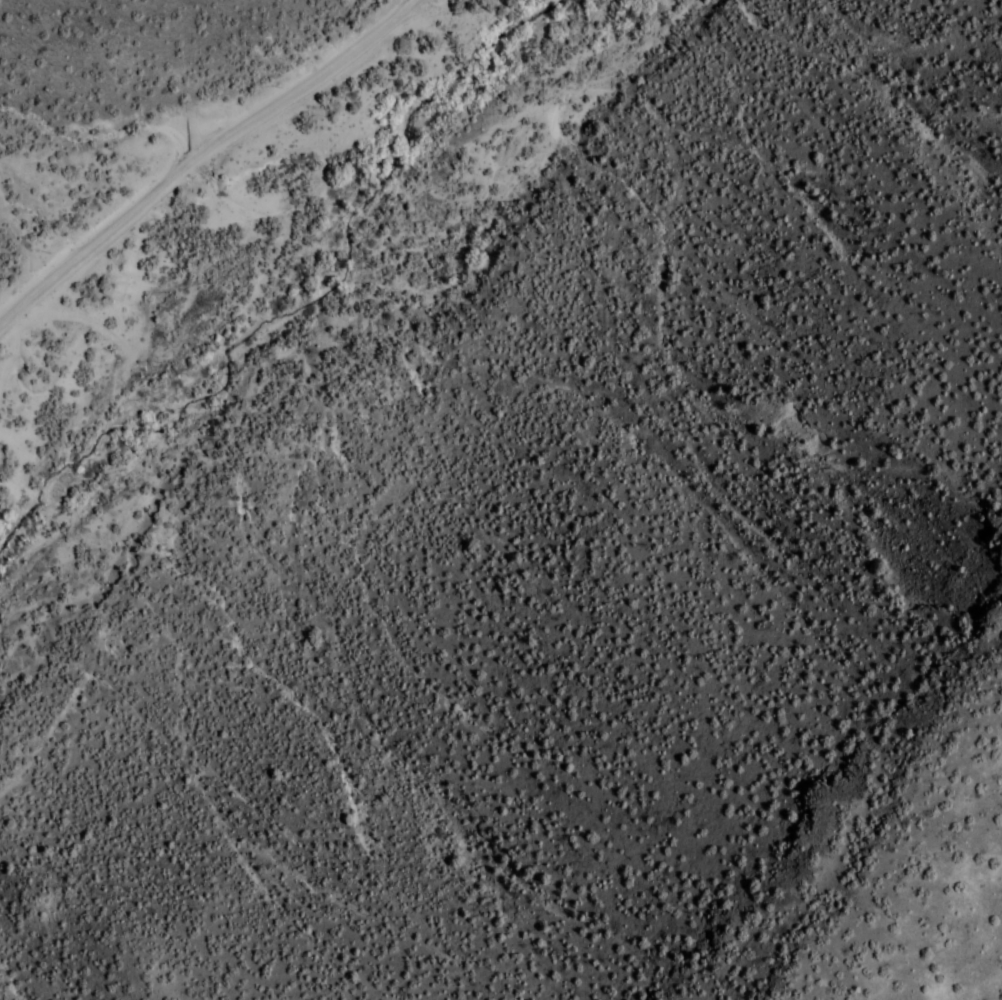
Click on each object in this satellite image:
road: (201, 154)

